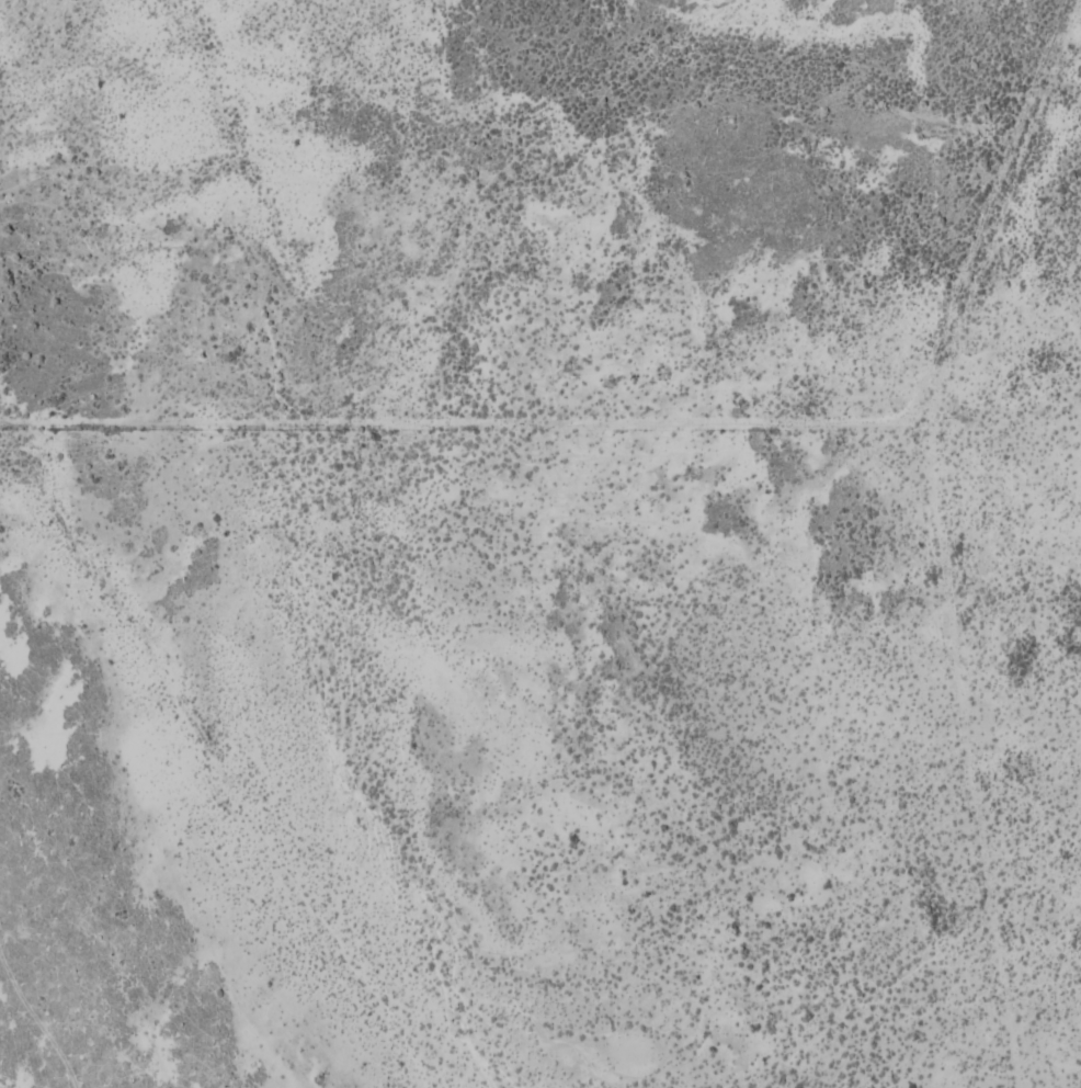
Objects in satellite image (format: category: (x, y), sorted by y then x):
road: (353, 296)

